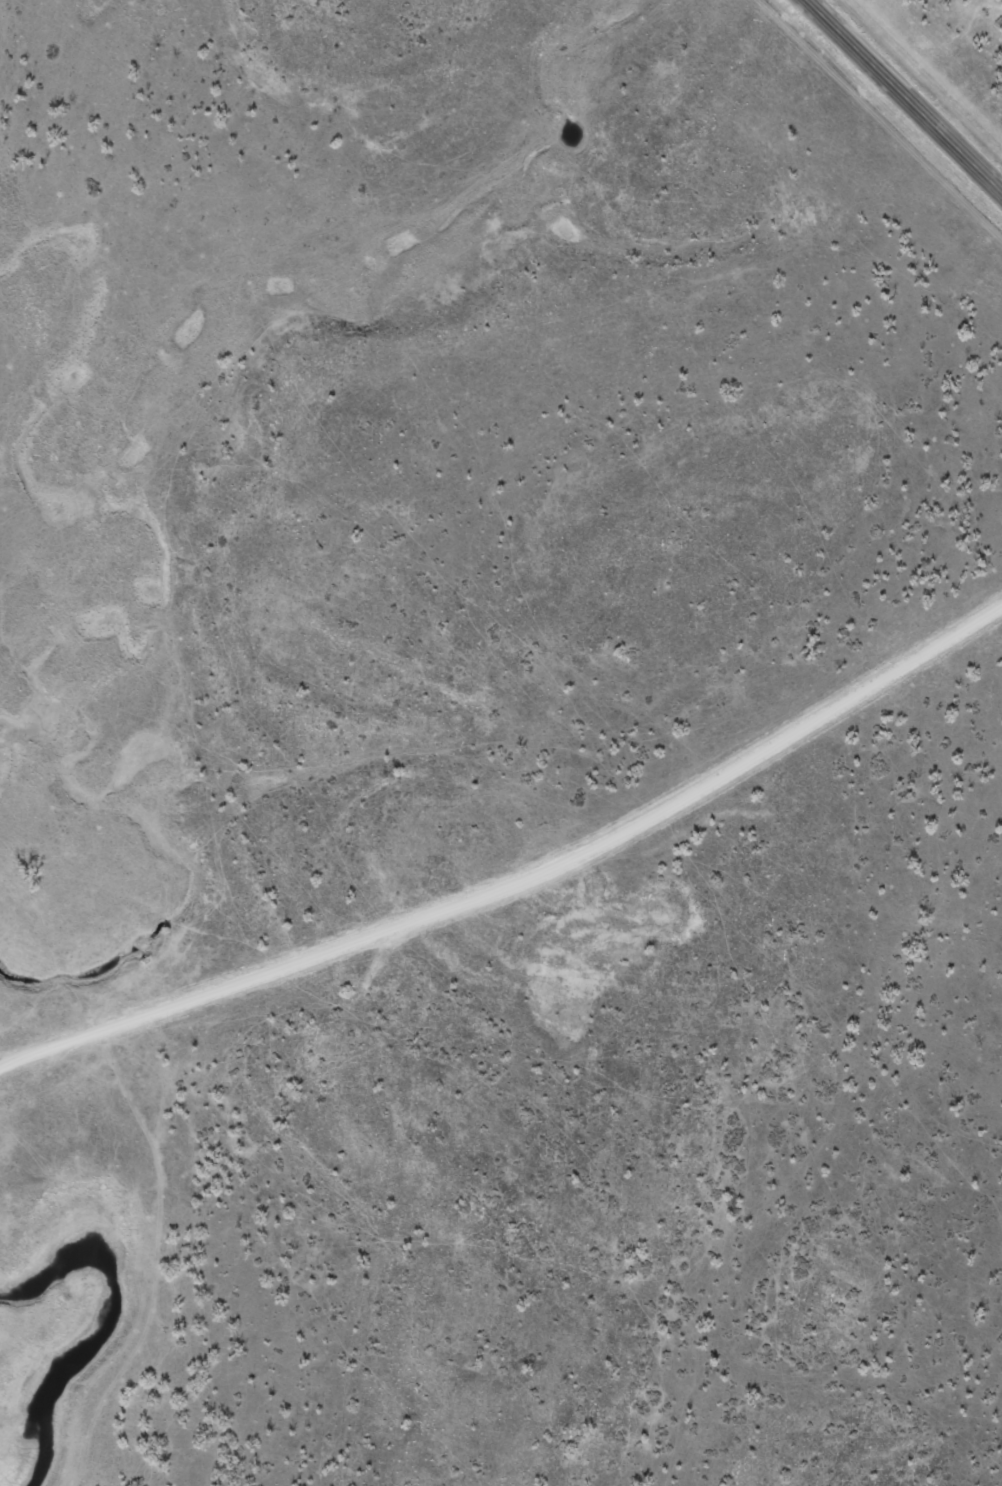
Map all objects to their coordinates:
road: (897, 106)
road: (515, 879)

